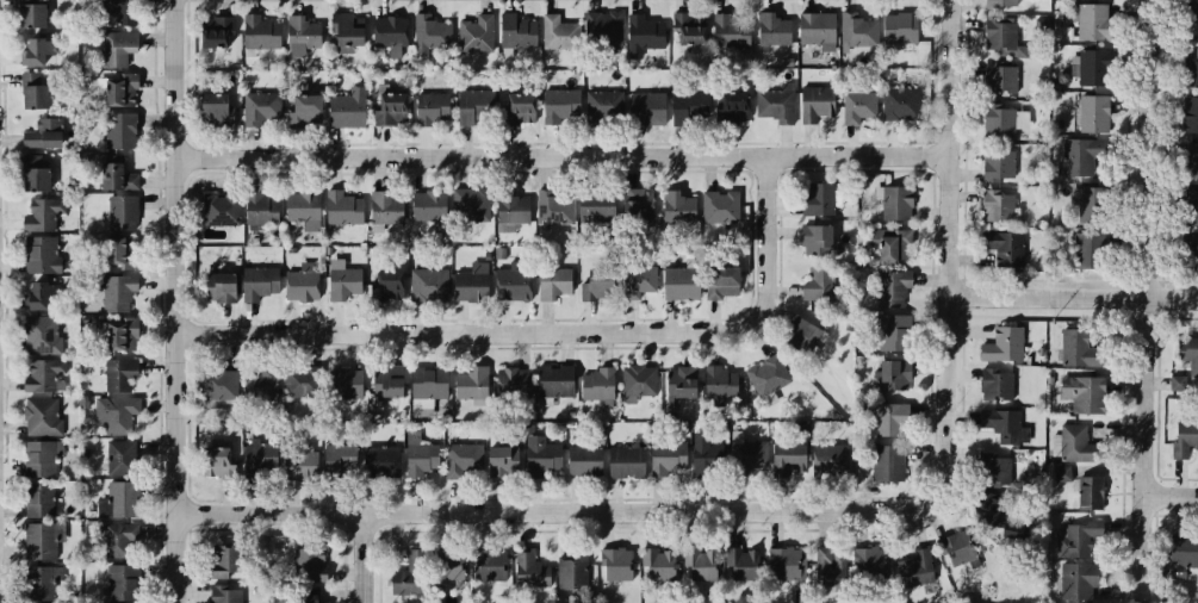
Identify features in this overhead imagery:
building: (1000, 4)
building: (120, 12)
building: (29, 13)
building: (1191, 20)
building: (683, 21)
building: (819, 21)
building: (1086, 23)
building: (606, 26)
building: (346, 27)
building: (387, 27)
building: (428, 27)
building: (514, 27)
building: (893, 27)
building: (719, 29)
building: (774, 29)
building: (855, 29)
building: (552, 30)
building: (641, 31)
building: (213, 32)
building: (260, 32)
building: (476, 32)
building: (999, 32)
building: (299, 36)
building: (768, 42)
building: (114, 50)
building: (35, 51)
building: (1092, 66)
building: (1192, 68)
building: (999, 77)
building: (114, 88)
building: (32, 93)
building: (555, 100)
building: (814, 100)
building: (210, 101)
building: (606, 102)
building: (685, 102)
building: (900, 102)
building: (772, 104)
building: (854, 104)
building: (387, 105)
building: (731, 105)
building: (259, 106)
building: (344, 106)
building: (467, 106)
building: (304, 107)
building: (647, 107)
building: (434, 108)
building: (517, 110)
building: (1190, 112)
building: (1093, 114)
building: (1008, 122)
building: (39, 131)
building: (119, 131)
road: (567, 155)
building: (1076, 158)
building: (1192, 160)
building: (998, 164)
building: (32, 175)
building: (114, 175)
building: (634, 198)
building: (818, 199)
building: (510, 203)
building: (677, 204)
building: (898, 204)
building: (993, 204)
building: (1084, 204)
building: (550, 205)
building: (1190, 206)
building: (590, 207)
building: (719, 207)
building: (337, 209)
building: (383, 209)
building: (421, 209)
building: (466, 209)
building: (302, 210)
building: (120, 211)
building: (255, 212)
building: (39, 216)
building: (212, 218)
building: (815, 234)
building: (1191, 241)
building: (893, 244)
building: (116, 249)
building: (1000, 249)
road: (955, 251)
building: (1086, 253)
building: (37, 254)
building: (1197, 263)
building: (817, 274)
building: (299, 280)
building: (434, 280)
building: (719, 280)
building: (256, 281)
building: (511, 282)
building: (635, 282)
building: (340, 284)
building: (467, 284)
building: (677, 284)
building: (553, 285)
building: (217, 286)
building: (390, 286)
building: (894, 286)
building: (588, 287)
building: (116, 292)
building: (35, 296)
road: (1076, 296)
road: (1150, 299)
road: (179, 300)
building: (799, 330)
building: (887, 331)
road: (553, 332)
building: (116, 334)
building: (38, 336)
building: (999, 342)
building: (1079, 346)
building: (1187, 350)
building: (118, 373)
building: (890, 374)
building: (39, 375)
building: (769, 375)
building: (428, 378)
building: (554, 379)
building: (262, 380)
building: (385, 380)
building: (510, 380)
building: (679, 380)
building: (719, 380)
building: (342, 381)
building: (470, 381)
building: (597, 381)
building: (1178, 383)
building: (634, 384)
building: (992, 385)
building: (212, 386)
building: (294, 387)
building: (1079, 392)
building: (42, 415)
building: (117, 415)
building: (883, 417)
building: (999, 423)
building: (1185, 433)
building: (1073, 442)
building: (252, 450)
building: (743, 450)
building: (707, 455)
building: (124, 456)
building: (378, 456)
building: (458, 456)
building: (495, 456)
building: (666, 456)
building: (788, 456)
building: (39, 458)
building: (418, 458)
building: (540, 458)
building: (298, 459)
building: (339, 459)
building: (620, 459)
building: (830, 459)
building: (209, 460)
building: (582, 460)
building: (884, 465)
building: (988, 470)
building: (1076, 489)
road: (1173, 495)
building: (38, 498)
building: (120, 498)
road: (0, 510)
road: (560, 511)
building: (995, 517)
building: (38, 540)
building: (117, 540)
building: (1076, 540)
building: (954, 549)
building: (1181, 552)
building: (218, 558)
road: (360, 558)
building: (652, 561)
building: (776, 561)
building: (303, 562)
building: (696, 562)
building: (737, 562)
building: (827, 562)
building: (612, 564)
building: (485, 565)
building: (862, 566)
building: (441, 567)
building: (913, 568)
building: (528, 570)
building: (566, 573)
building: (1076, 577)
building: (401, 579)
building: (120, 580)
building: (42, 583)
building: (222, 595)
building: (303, 596)

